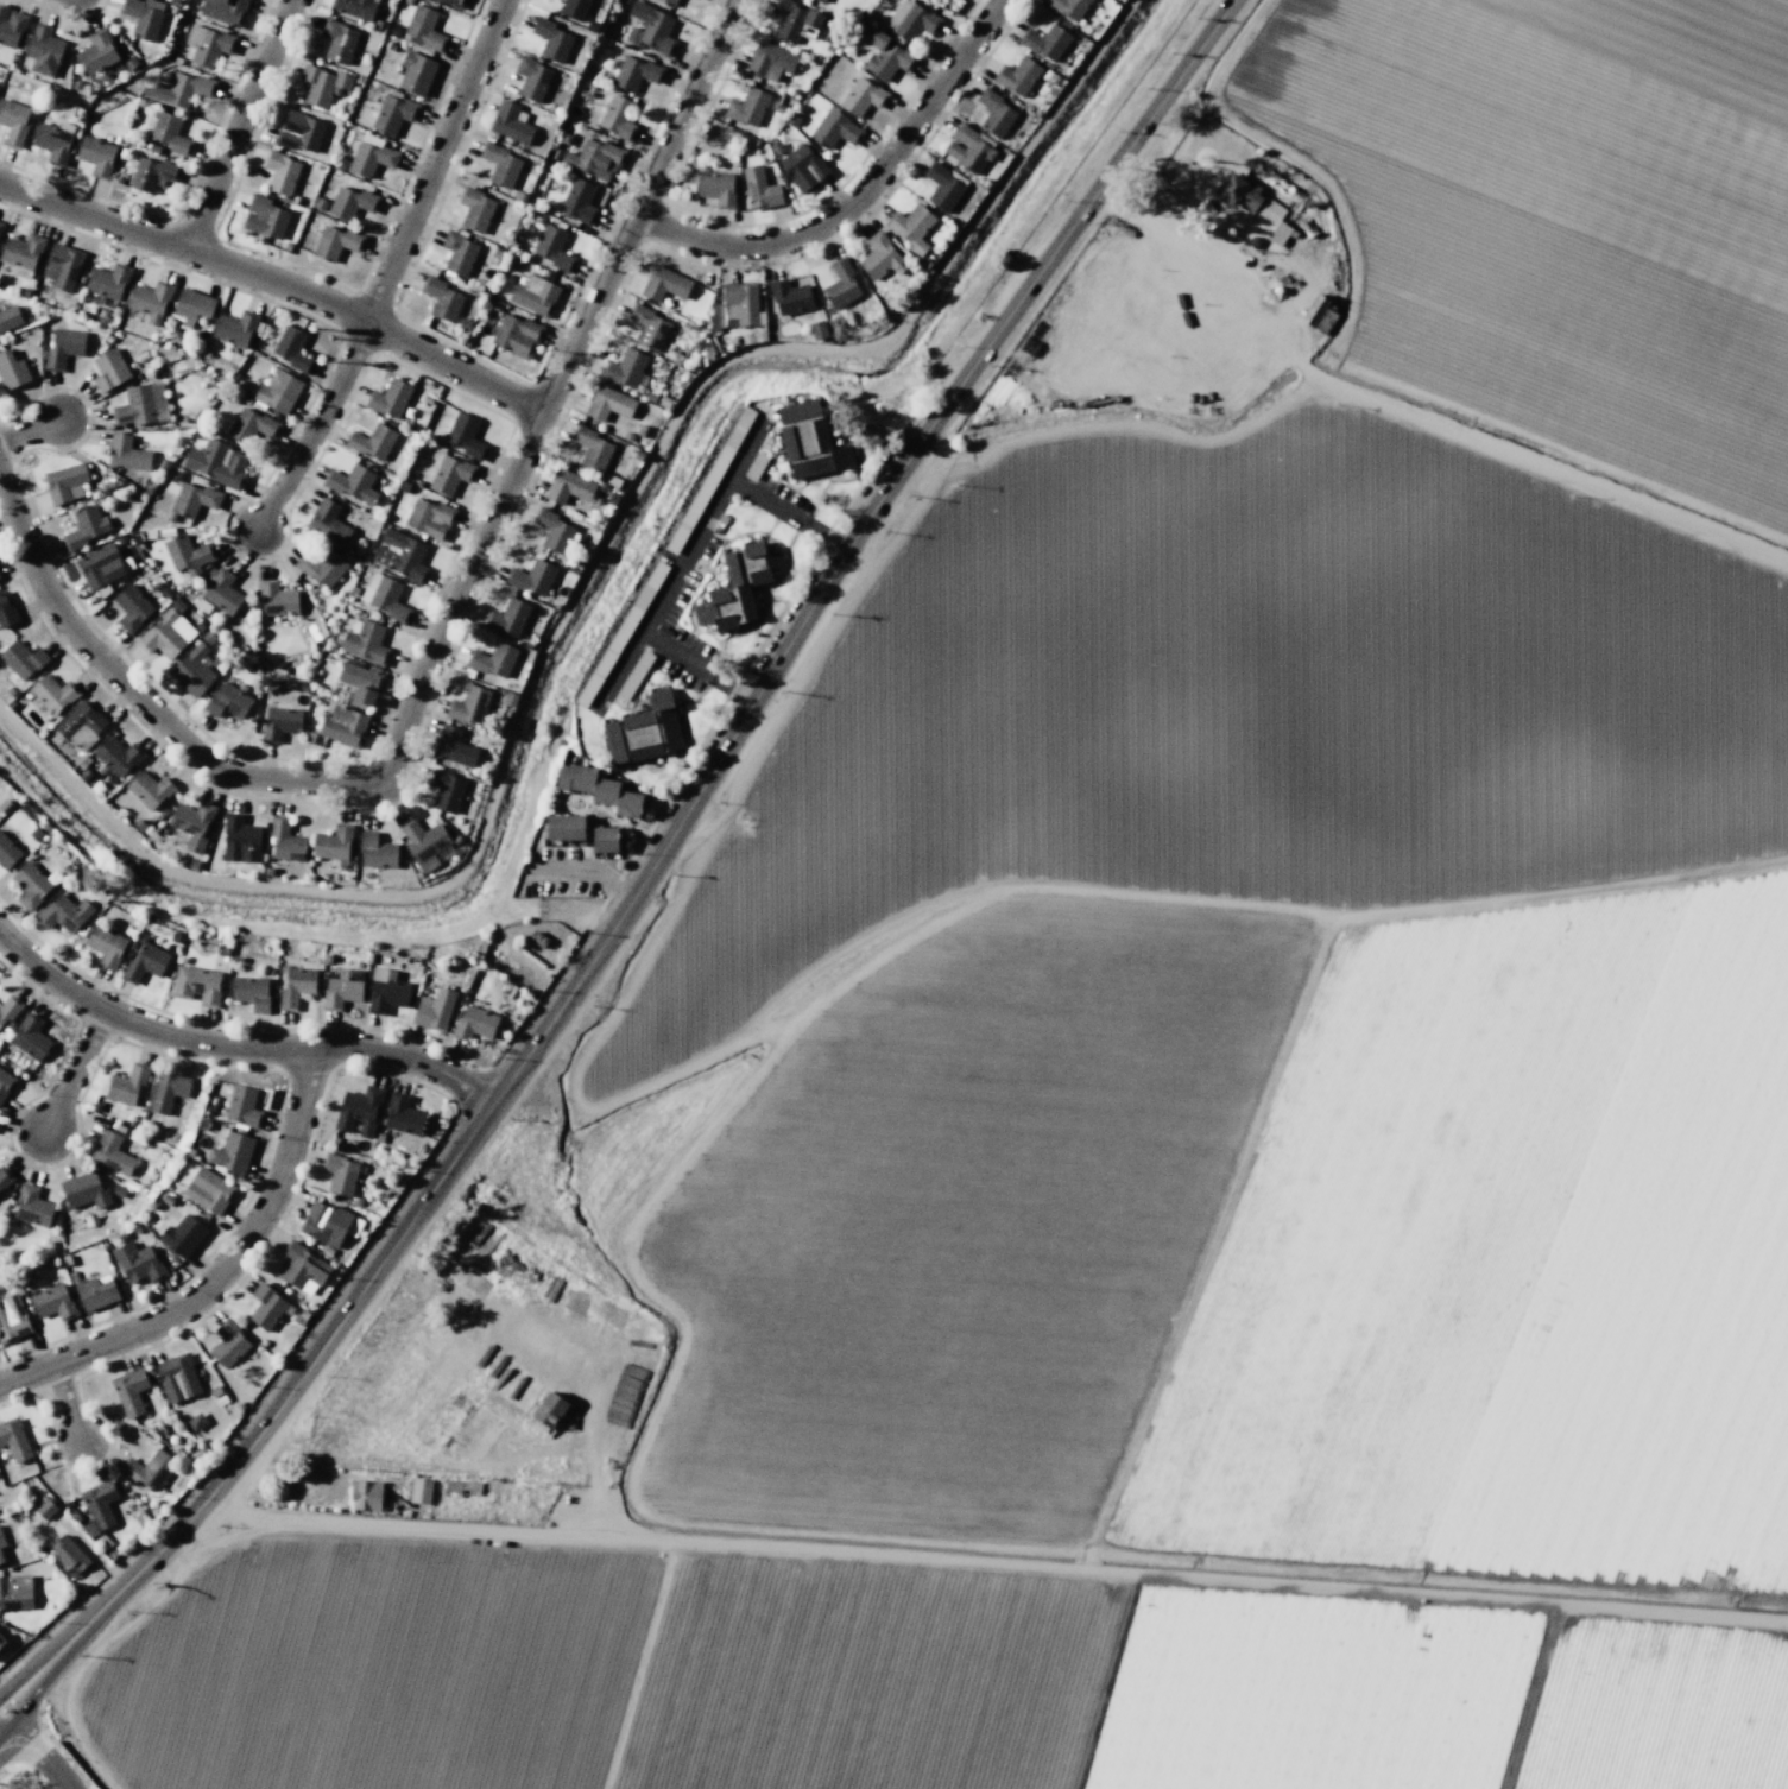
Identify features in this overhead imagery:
building: (820, 1)
building: (453, 2)
building: (669, 2)
building: (1068, 7)
building: (355, 8)
building: (574, 8)
building: (223, 11)
building: (144, 17)
building: (794, 20)
building: (911, 20)
building: (11, 26)
building: (424, 27)
building: (651, 30)
building: (337, 39)
building: (551, 40)
building: (1045, 42)
building: (207, 44)
building: (43, 49)
building: (96, 51)
building: (886, 56)
building: (771, 59)
building: (131, 62)
building: (416, 72)
building: (634, 72)
building: (1017, 76)
building: (532, 77)
building: (323, 84)
building: (178, 89)
building: (861, 96)
building: (746, 107)
building: (779, 109)
building: (393, 113)
building: (994, 113)
building: (617, 116)
building: (792, 119)
building: (13, 122)
building: (510, 124)
road: (240, 125)
building: (835, 129)
building: (298, 132)
building: (169, 133)
building: (52, 143)
building: (776, 147)
building: (153, 148)
building: (967, 150)
building: (96, 156)
building: (371, 157)
building: (595, 158)
road: (435, 160)
building: (500, 164)
building: (804, 169)
building: (279, 171)
building: (151, 175)
building: (942, 187)
building: (716, 188)
building: (759, 189)
road: (858, 196)
building: (520, 197)
building: (1250, 197)
building: (349, 200)
building: (577, 201)
building: (474, 209)
building: (264, 217)
building: (1, 226)
building: (911, 227)
building: (334, 242)
building: (552, 247)
building: (23, 253)
building: (457, 253)
building: (494, 255)
building: (880, 257)
building: (62, 266)
building: (108, 280)
road: (278, 283)
building: (664, 284)
building: (840, 284)
building: (533, 296)
building: (789, 296)
building: (442, 297)
building: (151, 299)
building: (739, 303)
building: (192, 304)
building: (1313, 309)
building: (10, 317)
building: (465, 323)
building: (649, 327)
building: (235, 329)
building: (817, 330)
building: (516, 335)
building: (760, 336)
building: (747, 339)
building: (63, 348)
building: (291, 349)
building: (625, 368)
building: (109, 369)
building: (12, 371)
building: (278, 392)
building: (390, 398)
road: (549, 400)
building: (609, 404)
building: (135, 406)
building: (251, 425)
road: (315, 428)
road: (29, 430)
building: (466, 436)
building: (808, 440)
building: (176, 441)
building: (372, 442)
building: (593, 448)
building: (126, 454)
building: (216, 462)
building: (754, 464)
building: (160, 467)
building: (450, 474)
building: (709, 480)
building: (65, 482)
building: (110, 483)
building: (353, 483)
building: (568, 487)
building: (194, 499)
road: (786, 513)
building: (429, 518)
building: (328, 523)
building: (84, 526)
building: (555, 531)
building: (121, 539)
building: (187, 554)
building: (402, 556)
building: (751, 563)
road: (677, 564)
building: (100, 565)
building: (321, 567)
building: (531, 579)
building: (157, 586)
building: (222, 590)
building: (166, 592)
building: (384, 596)
building: (277, 599)
building: (177, 605)
building: (132, 607)
building: (726, 607)
building: (6, 611)
building: (508, 618)
building: (200, 626)
building: (663, 631)
building: (165, 633)
building: (620, 633)
building: (208, 637)
building: (366, 643)
building: (24, 659)
building: (493, 660)
road: (696, 666)
building: (192, 669)
building: (633, 676)
building: (360, 682)
road: (131, 690)
building: (53, 695)
building: (228, 701)
building: (469, 706)
building: (279, 722)
building: (343, 726)
building: (81, 727)
building: (643, 732)
building: (453, 747)
building: (119, 757)
building: (150, 789)
building: (447, 789)
building: (599, 789)
building: (192, 824)
building: (564, 827)
building: (240, 839)
building: (605, 839)
building: (285, 842)
building: (334, 842)
building: (423, 842)
building: (7, 852)
building: (375, 852)
road: (640, 874)
building: (31, 885)
building: (64, 912)
building: (537, 938)
building: (106, 946)
building: (144, 962)
building: (196, 985)
building: (296, 987)
building: (341, 987)
building: (386, 991)
building: (251, 992)
building: (434, 1009)
building: (8, 1011)
building: (474, 1024)
building: (30, 1037)
road: (236, 1047)
crop: (1170, 1061)
road: (74, 1070)
building: (5, 1083)
building: (127, 1083)
building: (168, 1091)
building: (242, 1107)
building: (359, 1110)
building: (403, 1115)
building: (230, 1152)
building: (110, 1153)
building: (340, 1174)
building: (5, 1178)
building: (84, 1190)
building: (118, 1190)
building: (208, 1190)
building: (31, 1206)
building: (328, 1224)
building: (181, 1234)
building: (138, 1262)
building: (299, 1265)
road: (221, 1273)
building: (96, 1292)
building: (55, 1302)
building: (267, 1307)
building: (12, 1319)
building: (228, 1342)
building: (177, 1377)
building: (129, 1391)
road: (65, 1401)
building: (550, 1410)
building: (196, 1421)
building: (14, 1439)
building: (147, 1468)
building: (419, 1491)
building: (366, 1494)
building: (97, 1506)
building: (45, 1509)
building: (1, 1541)
building: (68, 1554)
building: (1, 1557)
building: (15, 1592)
building: (2, 1641)
road: (36, 1750)

